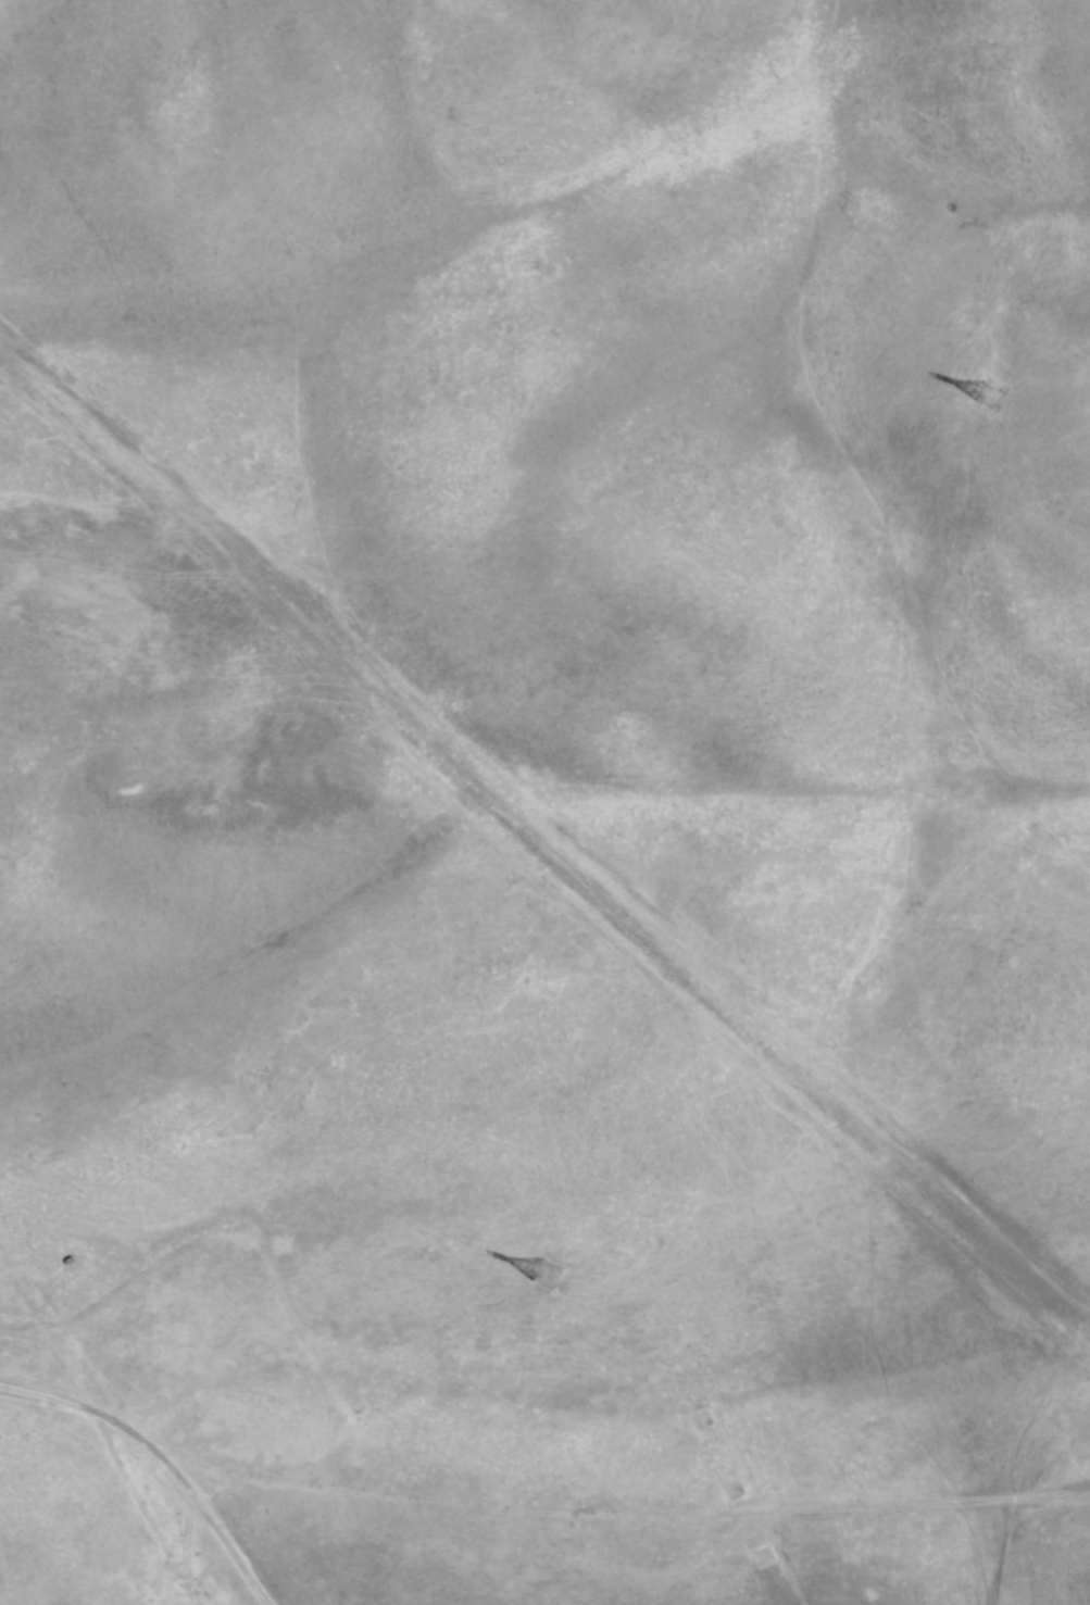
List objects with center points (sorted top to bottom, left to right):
power tower: (1001, 422)
power tower: (563, 1280)

